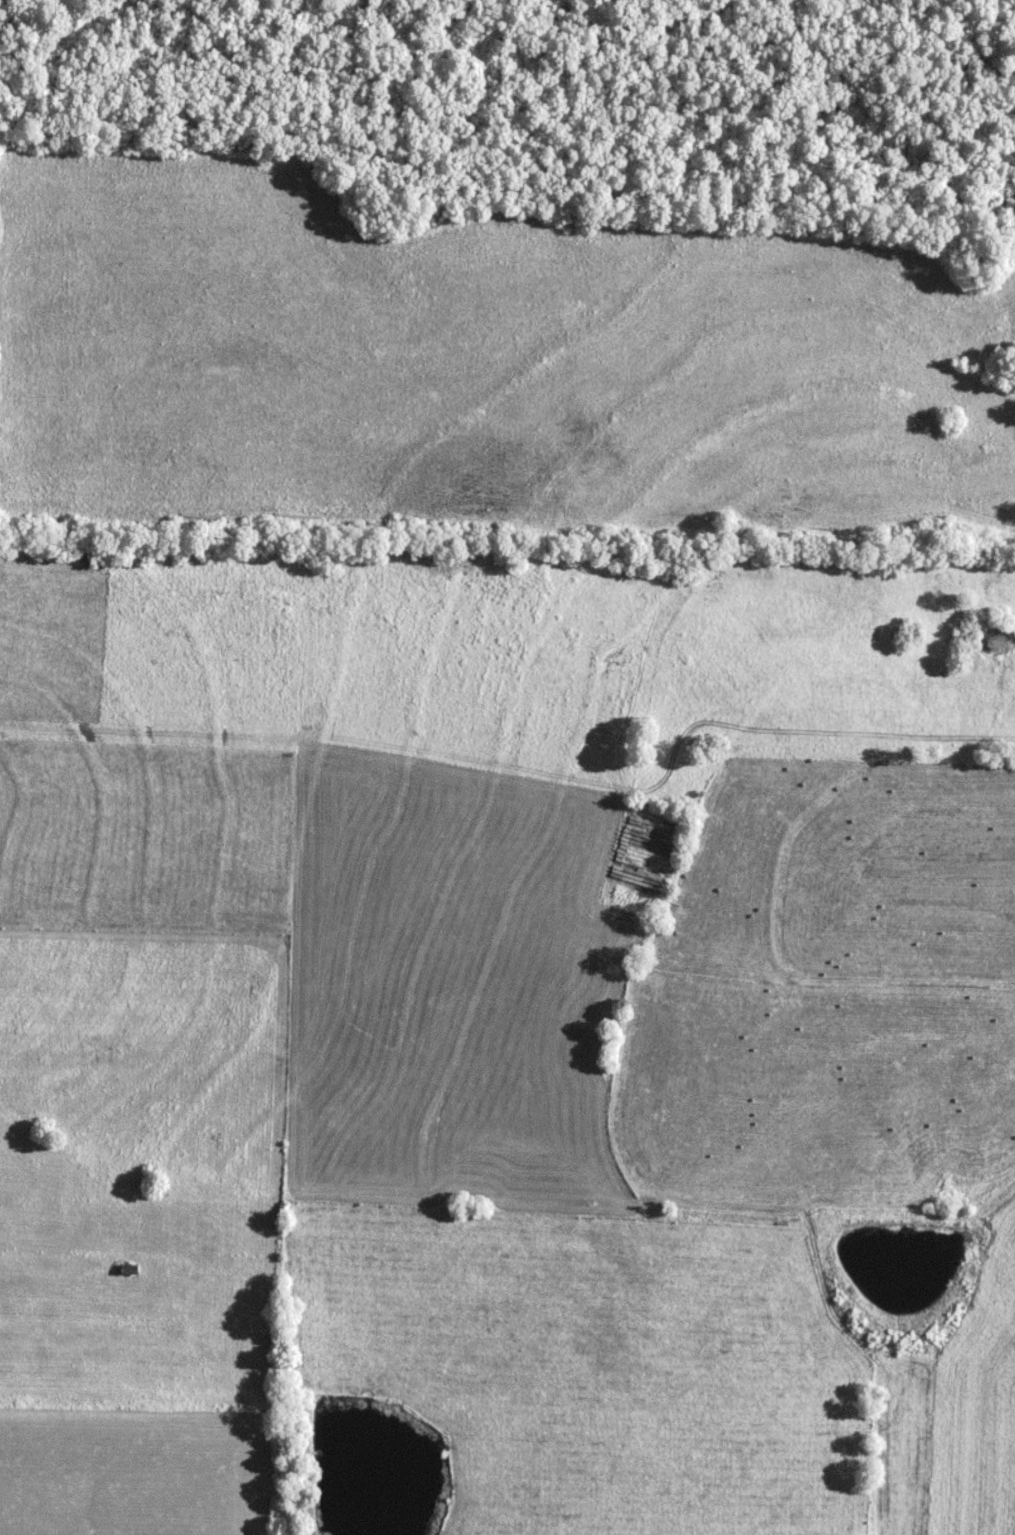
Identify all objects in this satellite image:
building: (129, 1269)

